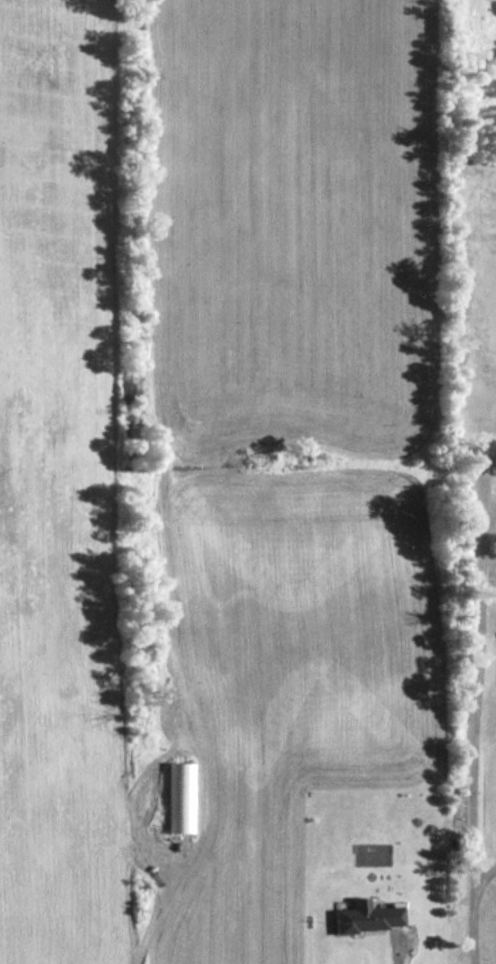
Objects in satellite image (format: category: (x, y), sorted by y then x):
building: (178, 799)
building: (366, 920)

